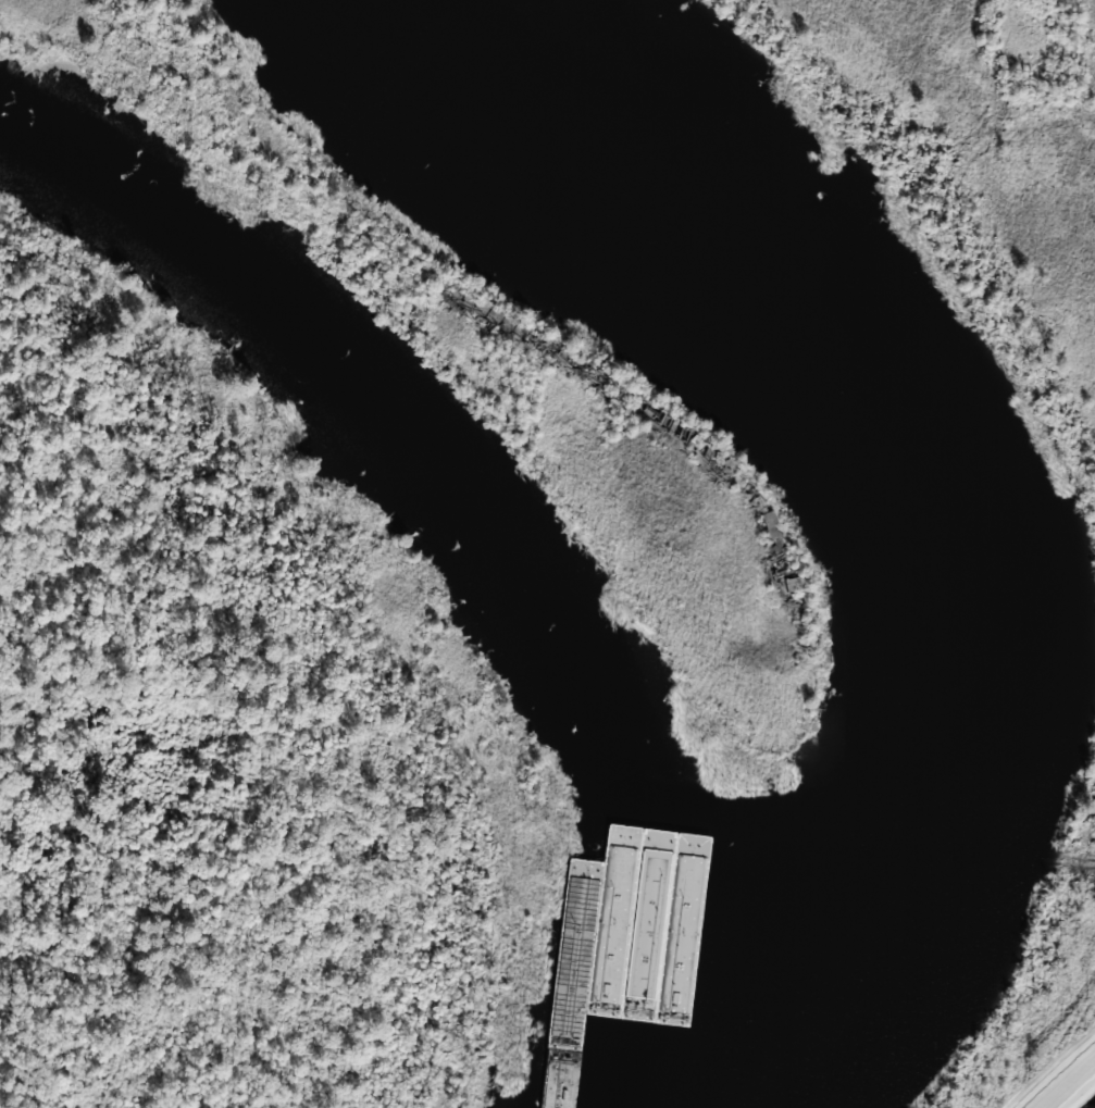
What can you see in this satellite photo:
road: (1032, 52)
river: (925, 450)

